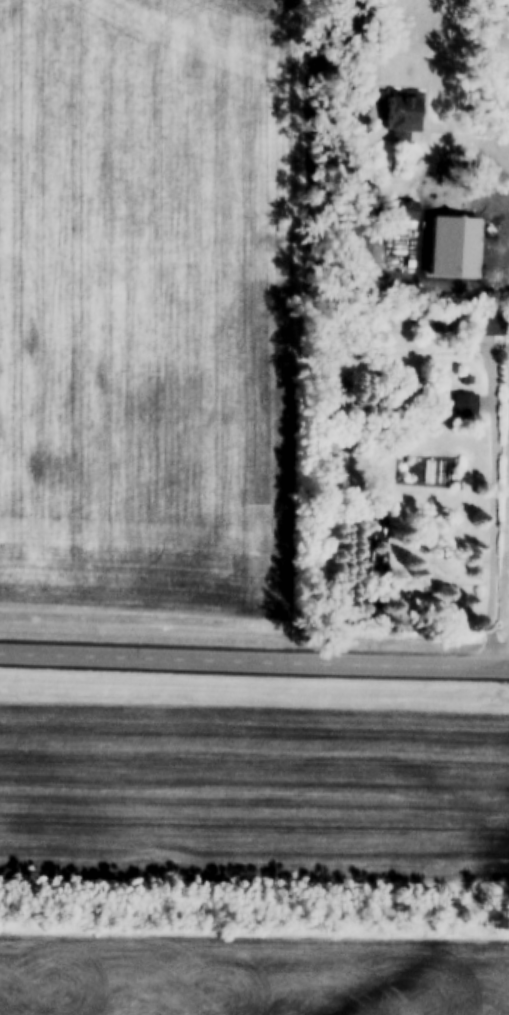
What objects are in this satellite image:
building: (401, 115)
road: (448, 140)
building: (398, 208)
crop: (146, 304)
building: (440, 323)
building: (490, 323)
building: (465, 377)
building: (462, 403)
road: (496, 533)
road: (254, 663)
crop: (255, 785)
crop: (250, 978)

